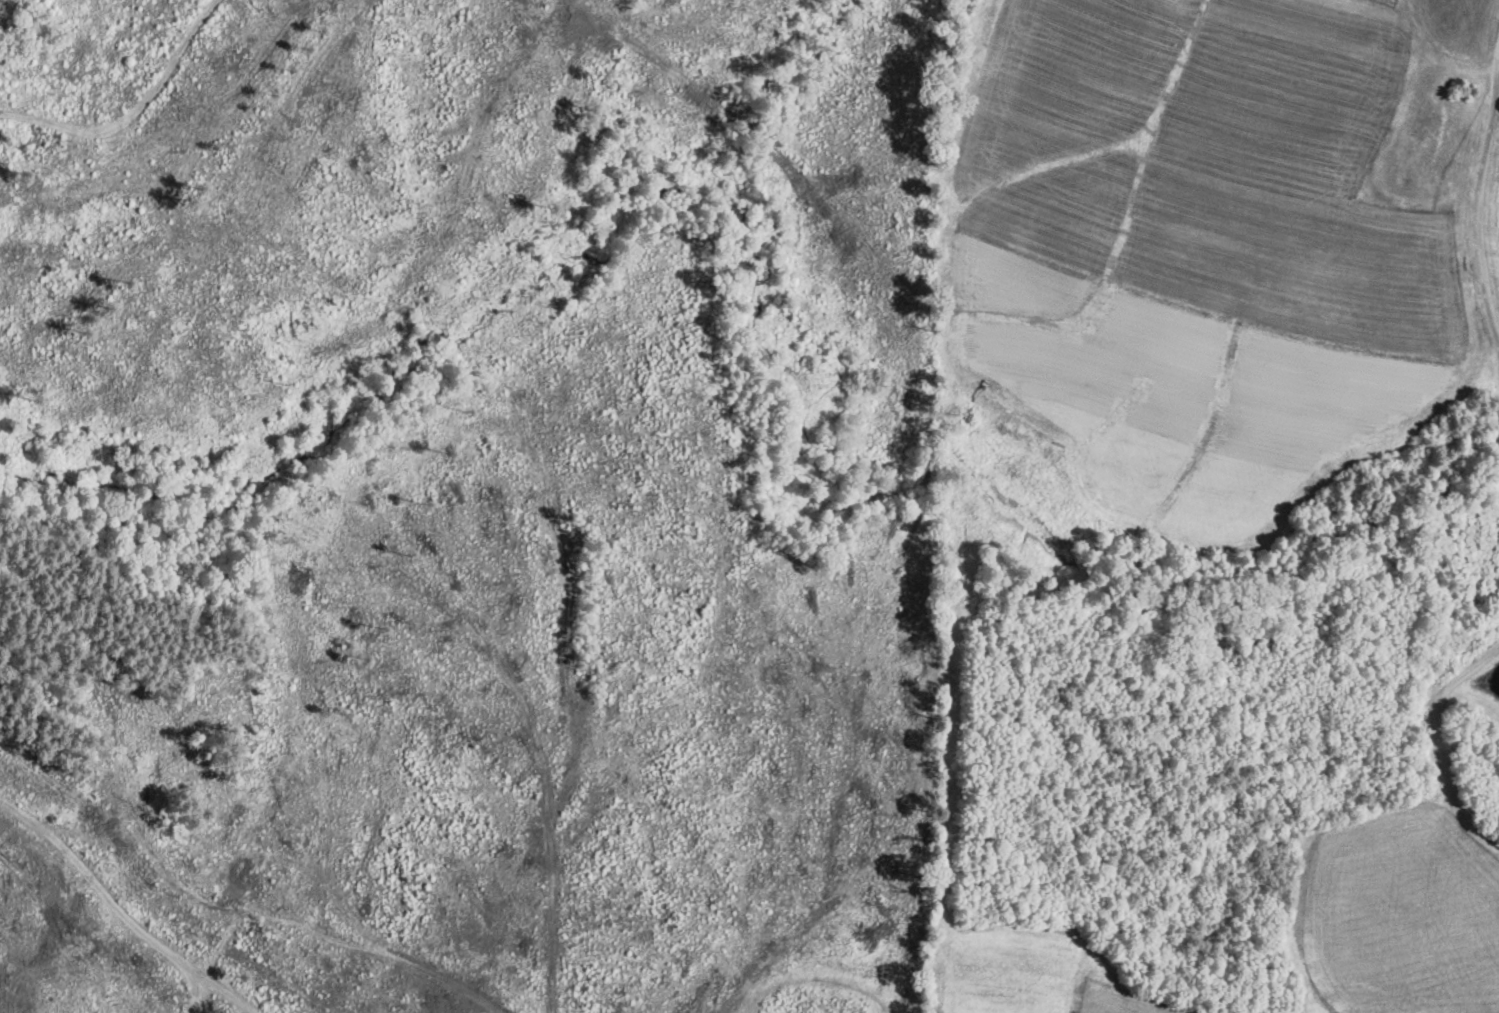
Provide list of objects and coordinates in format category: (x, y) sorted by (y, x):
road: (163, 90)

